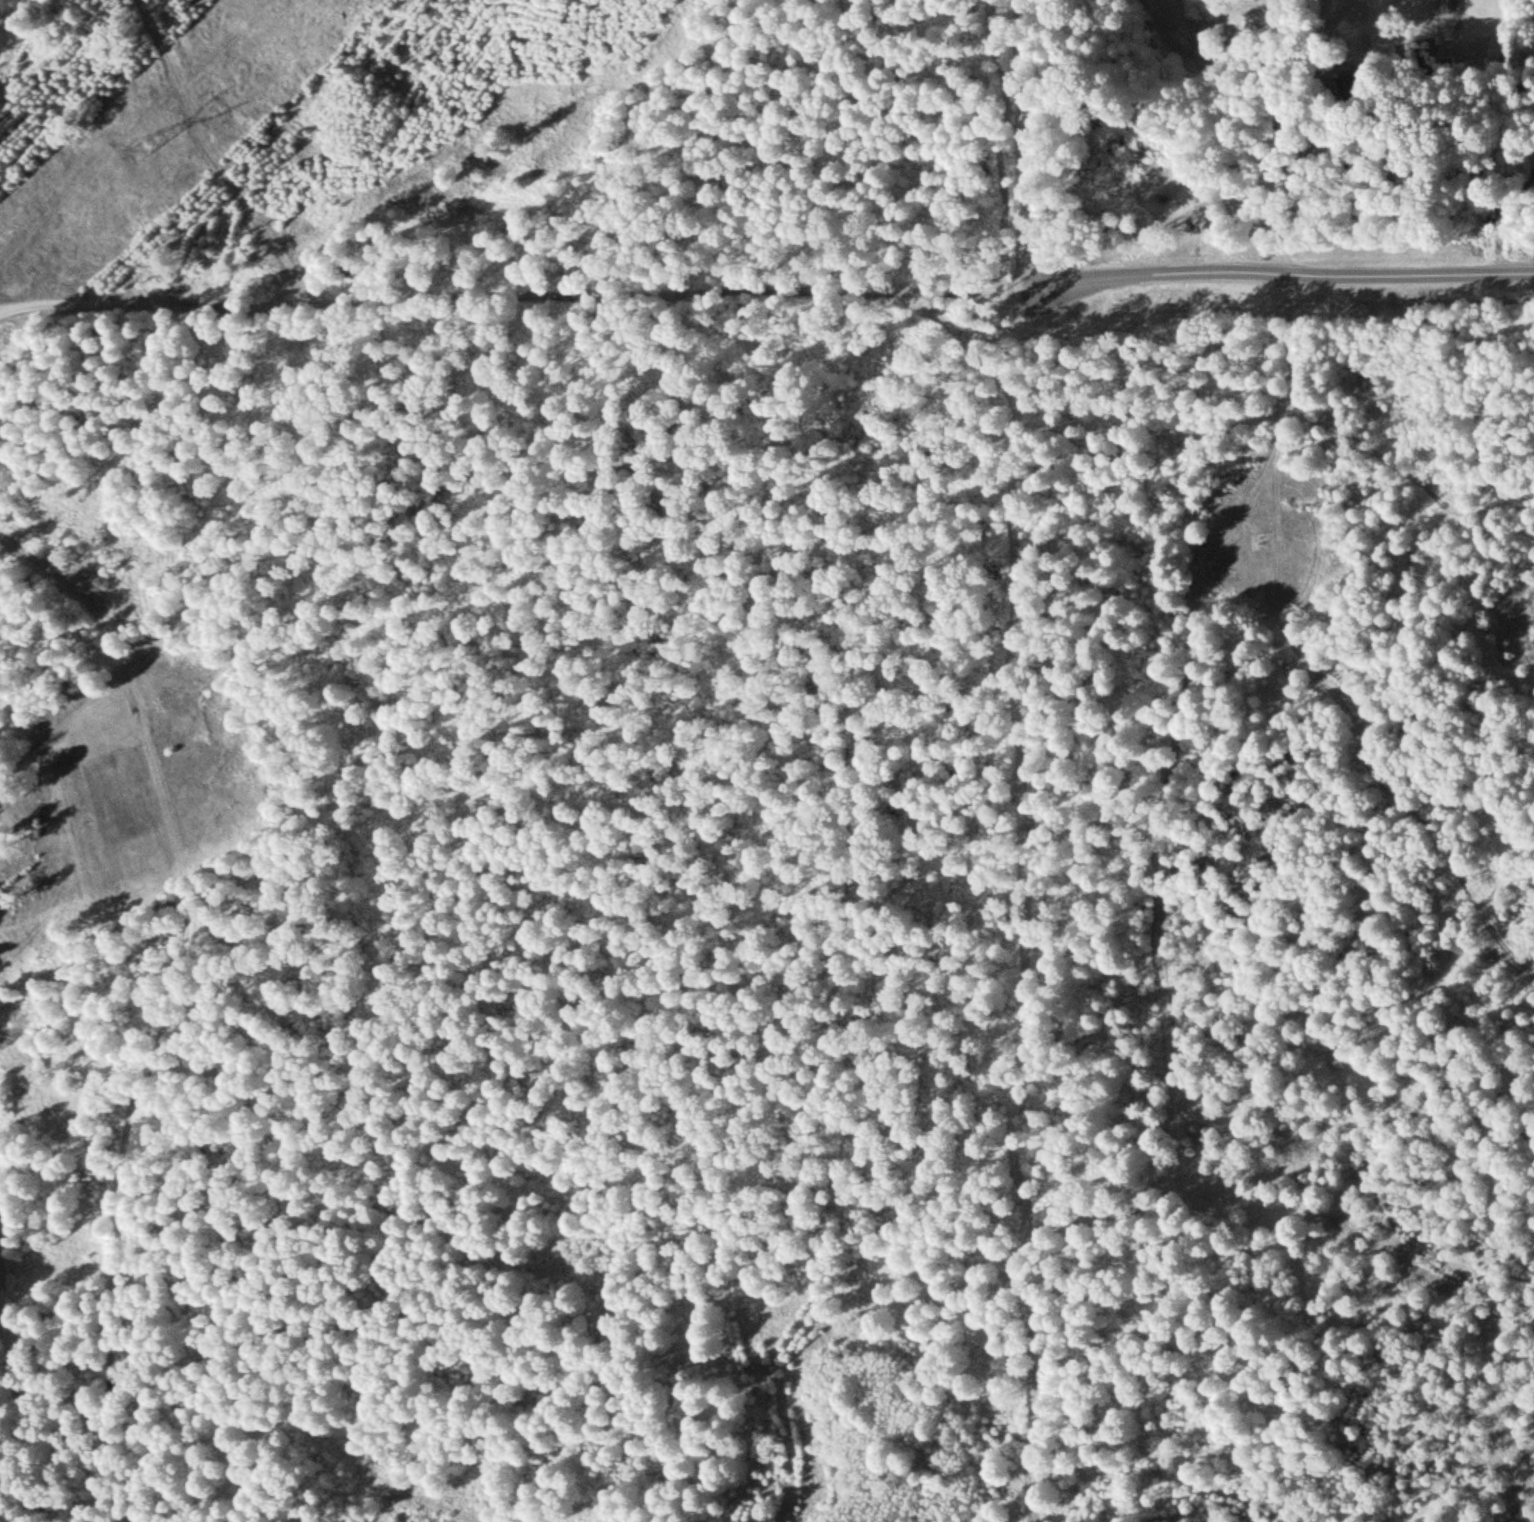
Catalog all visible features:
power tower: (140, 146)
road: (1407, 273)
road: (640, 287)
road: (1300, 653)
road: (1033, 760)

